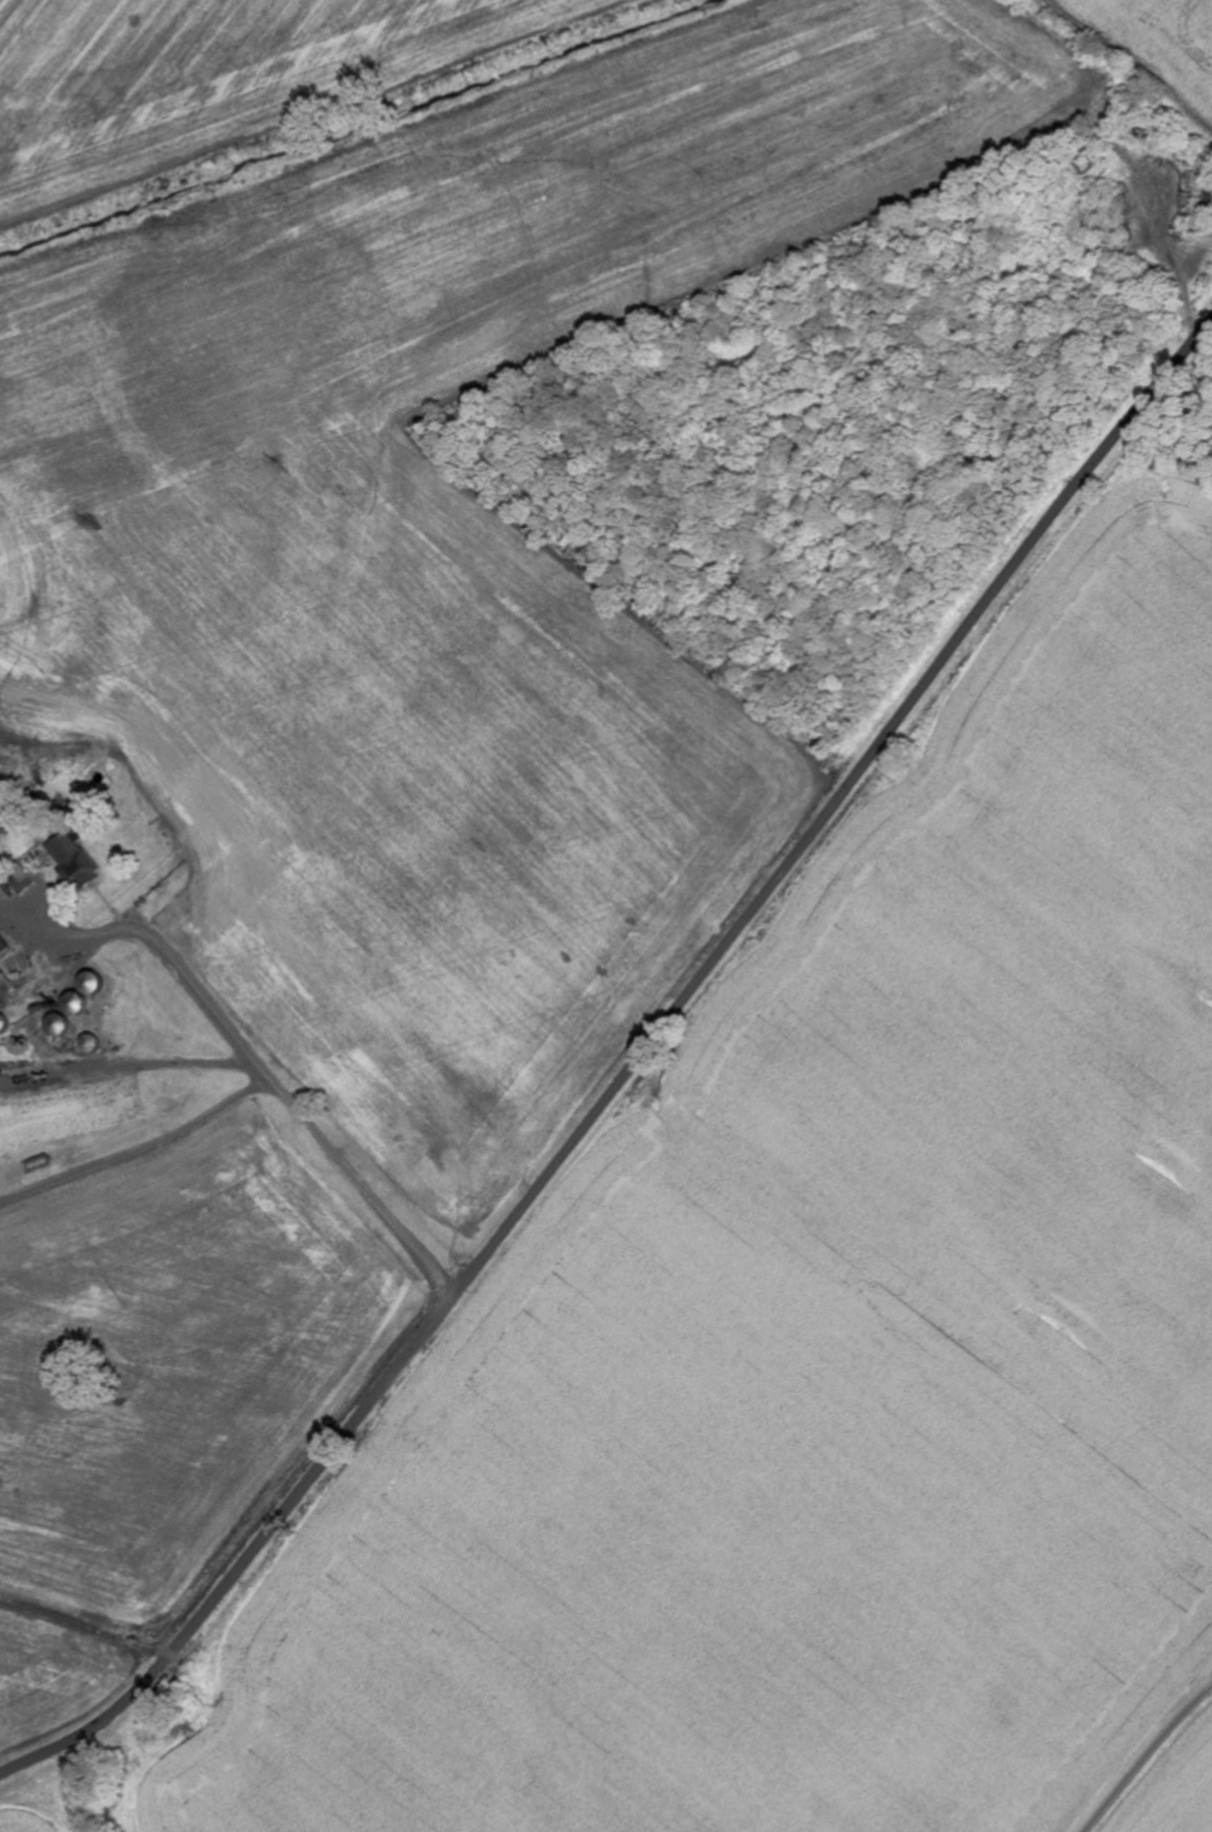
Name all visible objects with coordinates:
building: (83, 861)
building: (6, 947)
road: (253, 1051)
road: (628, 1071)
road: (1136, 1731)

